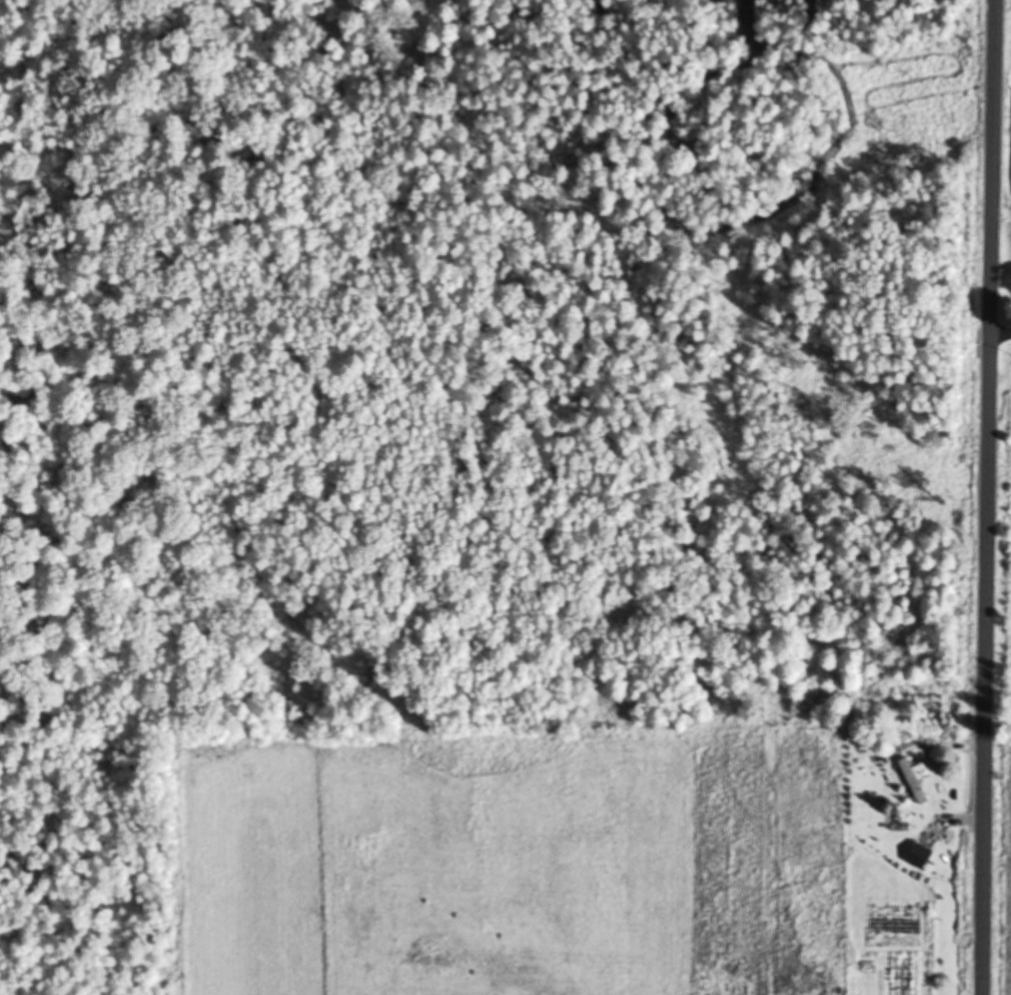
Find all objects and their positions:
road: (990, 497)
building: (917, 781)
building: (922, 857)

